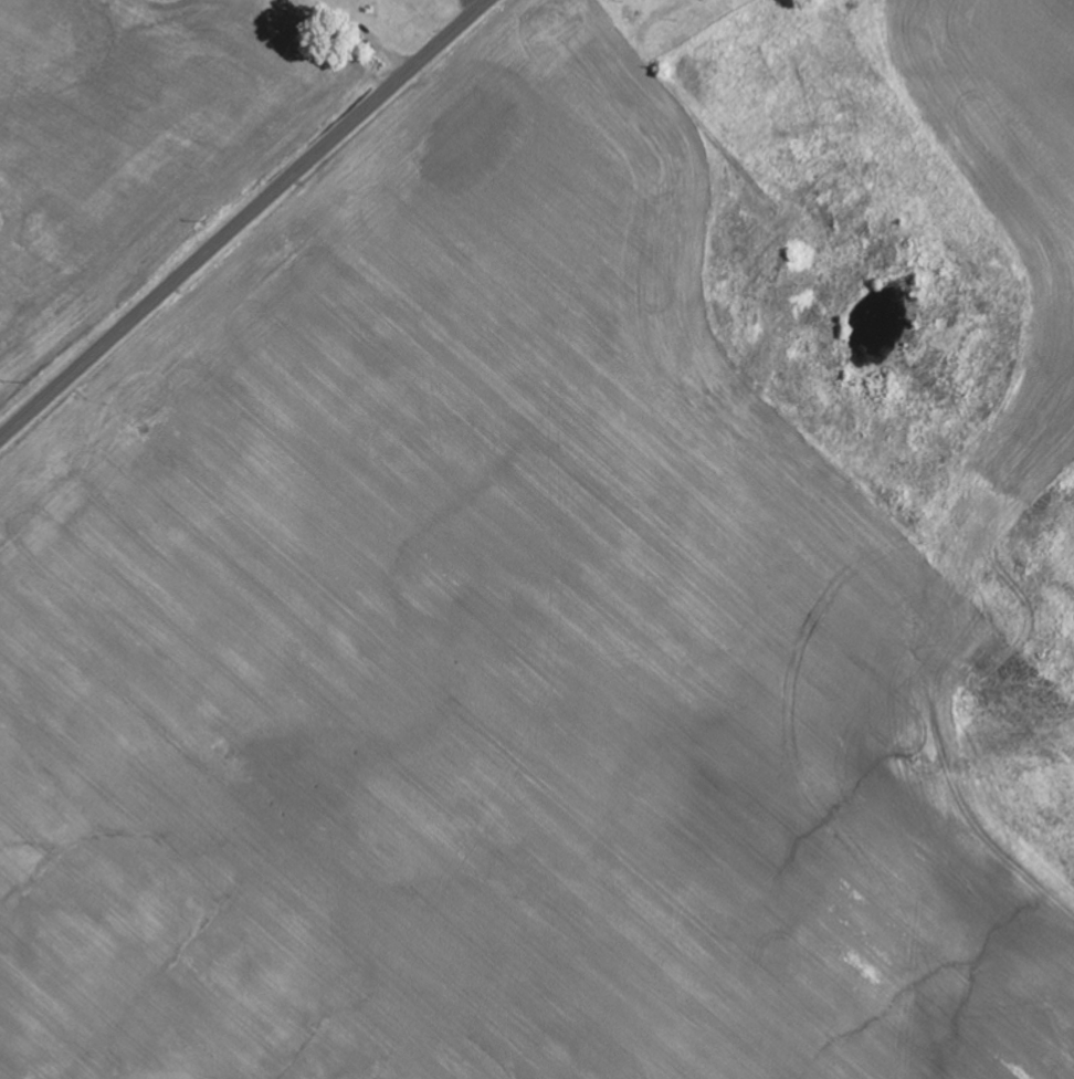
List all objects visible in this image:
road: (245, 219)

